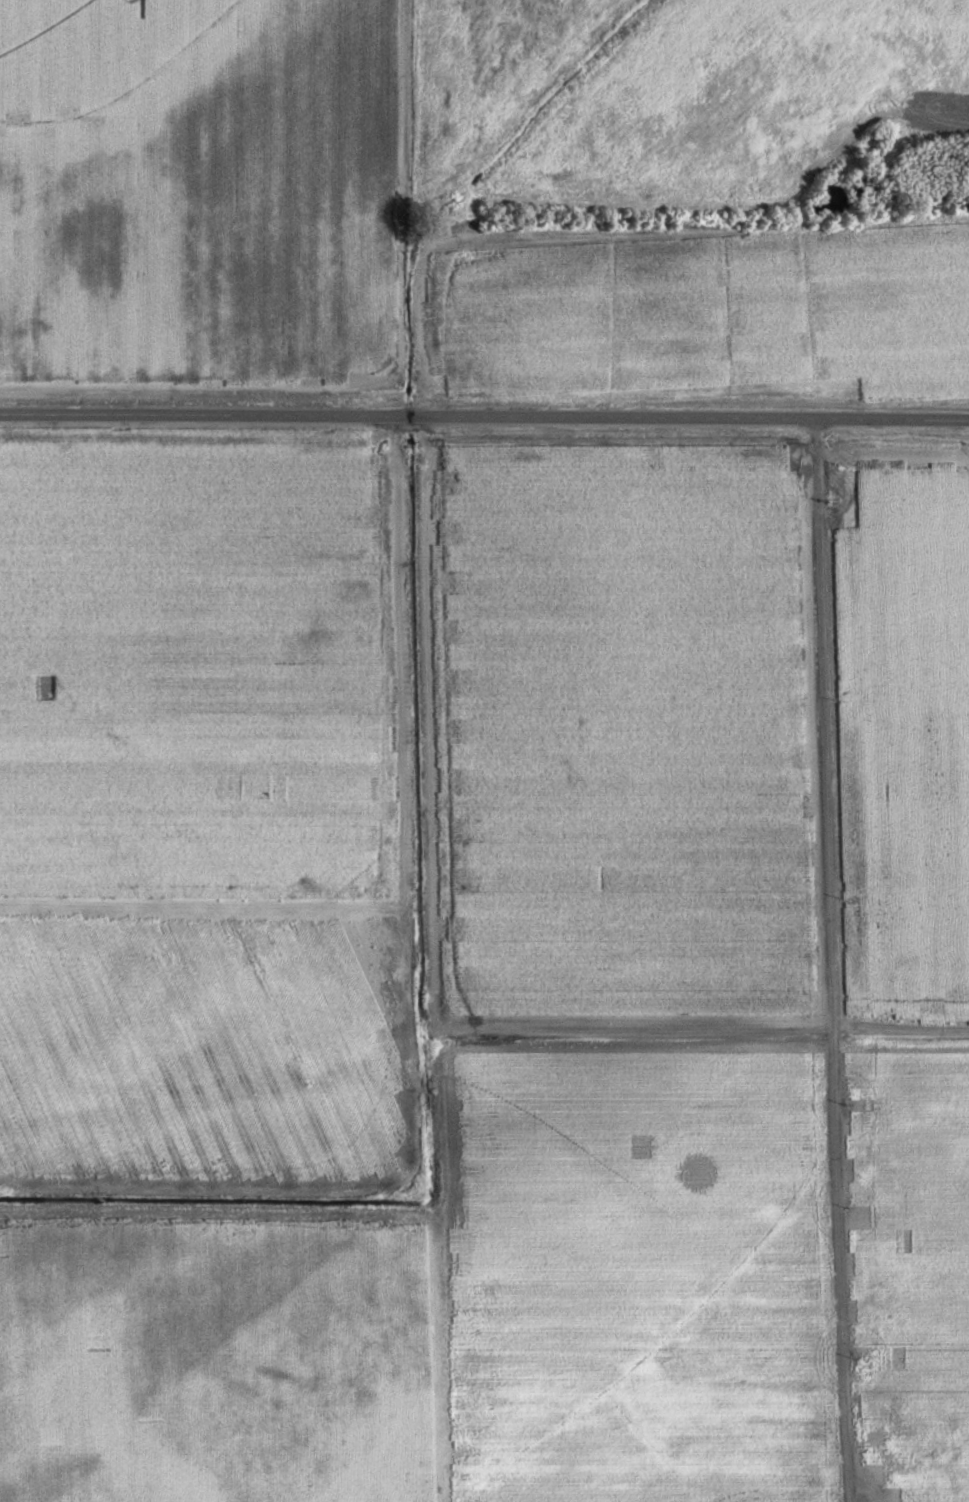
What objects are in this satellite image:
road: (484, 418)
road: (834, 961)
road: (918, 1463)

